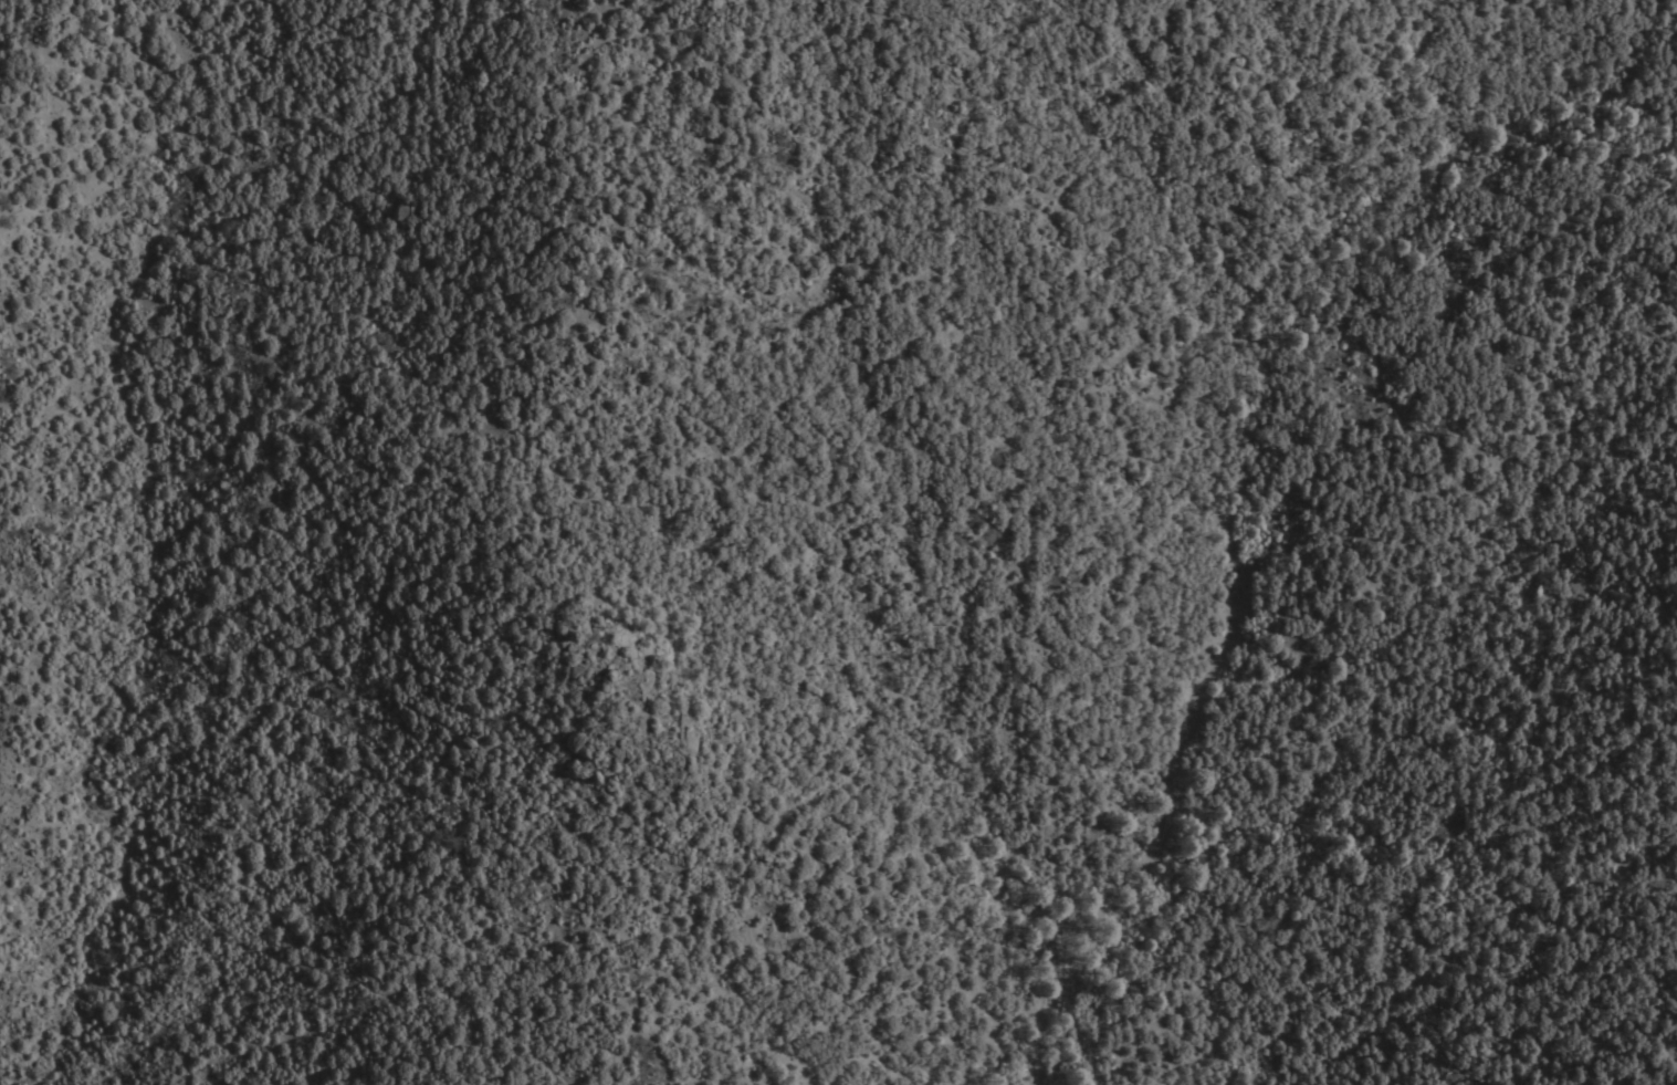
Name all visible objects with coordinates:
road: (359, 3)
road: (1385, 14)
road: (831, 156)
road: (389, 206)
road: (1236, 452)
road: (814, 699)
road: (187, 950)
road: (981, 997)

